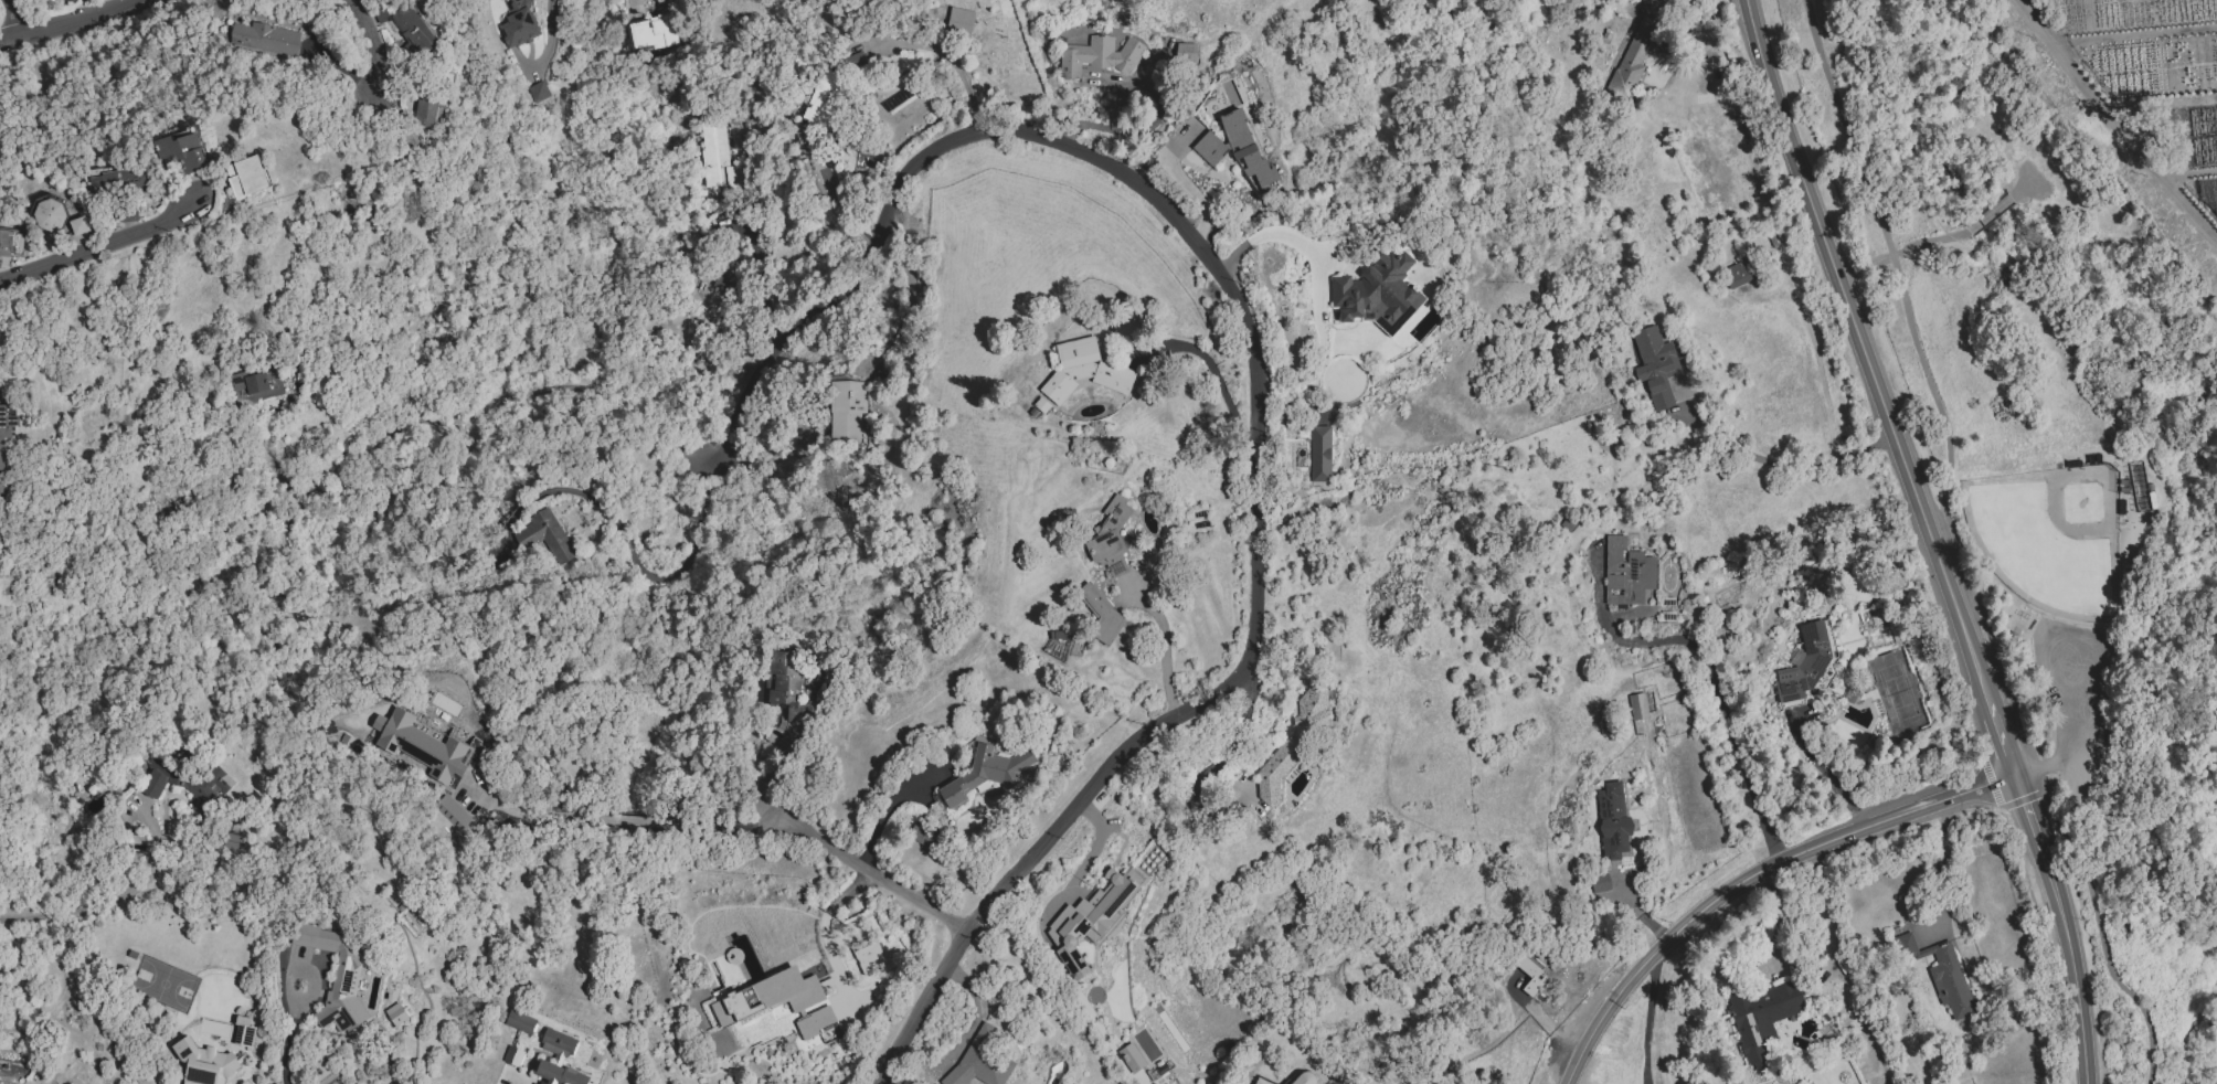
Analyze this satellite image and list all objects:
road: (1674, 15)
building: (959, 19)
road: (14, 21)
building: (517, 23)
road: (71, 26)
building: (412, 30)
building: (653, 32)
road: (2134, 35)
road: (365, 36)
building: (265, 39)
road: (548, 40)
building: (1186, 53)
building: (1099, 56)
building: (1633, 57)
road: (951, 60)
building: (856, 61)
building: (539, 92)
building: (827, 99)
building: (424, 110)
road: (2113, 124)
building: (1209, 148)
building: (1247, 148)
building: (179, 152)
building: (719, 158)
building: (247, 174)
building: (117, 181)
building: (49, 214)
building: (78, 225)
road: (1281, 234)
building: (10, 243)
road: (99, 246)
crop: (2114, 255)
building: (1739, 273)
building: (723, 281)
road: (764, 281)
building: (1378, 294)
road: (910, 304)
road: (1864, 353)
building: (1655, 366)
road: (2136, 368)
building: (1084, 371)
road: (1213, 373)
building: (255, 385)
road: (540, 385)
road: (1256, 387)
building: (847, 410)
building: (6, 428)
building: (1319, 454)
road: (1788, 465)
building: (2141, 488)
building: (2121, 507)
building: (545, 535)
park: (2050, 536)
building: (1110, 538)
road: (1962, 550)
road: (632, 554)
building: (1626, 573)
building: (1101, 613)
road: (1163, 642)
building: (1810, 665)
building: (785, 701)
road: (1720, 702)
building: (1637, 706)
road: (2080, 727)
building: (1294, 741)
road: (2001, 743)
building: (420, 744)
road: (1223, 757)
road: (773, 769)
building: (985, 774)
road: (1826, 777)
road: (888, 806)
building: (453, 814)
road: (2028, 815)
building: (1612, 820)
road: (596, 832)
building: (923, 835)
road: (1089, 853)
road: (864, 869)
road: (1752, 879)
building: (1600, 883)
road: (2055, 892)
road: (104, 903)
building: (1090, 918)
road: (1775, 924)
road: (823, 937)
building: (867, 956)
building: (1941, 974)
building: (1529, 976)
building: (338, 977)
building: (777, 1002)
road: (2078, 1009)
building: (779, 1011)
building: (395, 1014)
building: (1761, 1017)
road: (1645, 1021)
building: (520, 1022)
building: (243, 1031)
building: (558, 1044)
road: (284, 1051)
building: (512, 1056)
building: (1131, 1058)
building: (982, 1059)
building: (204, 1063)
building: (559, 1074)
building: (1302, 1078)
building: (1260, 1081)

